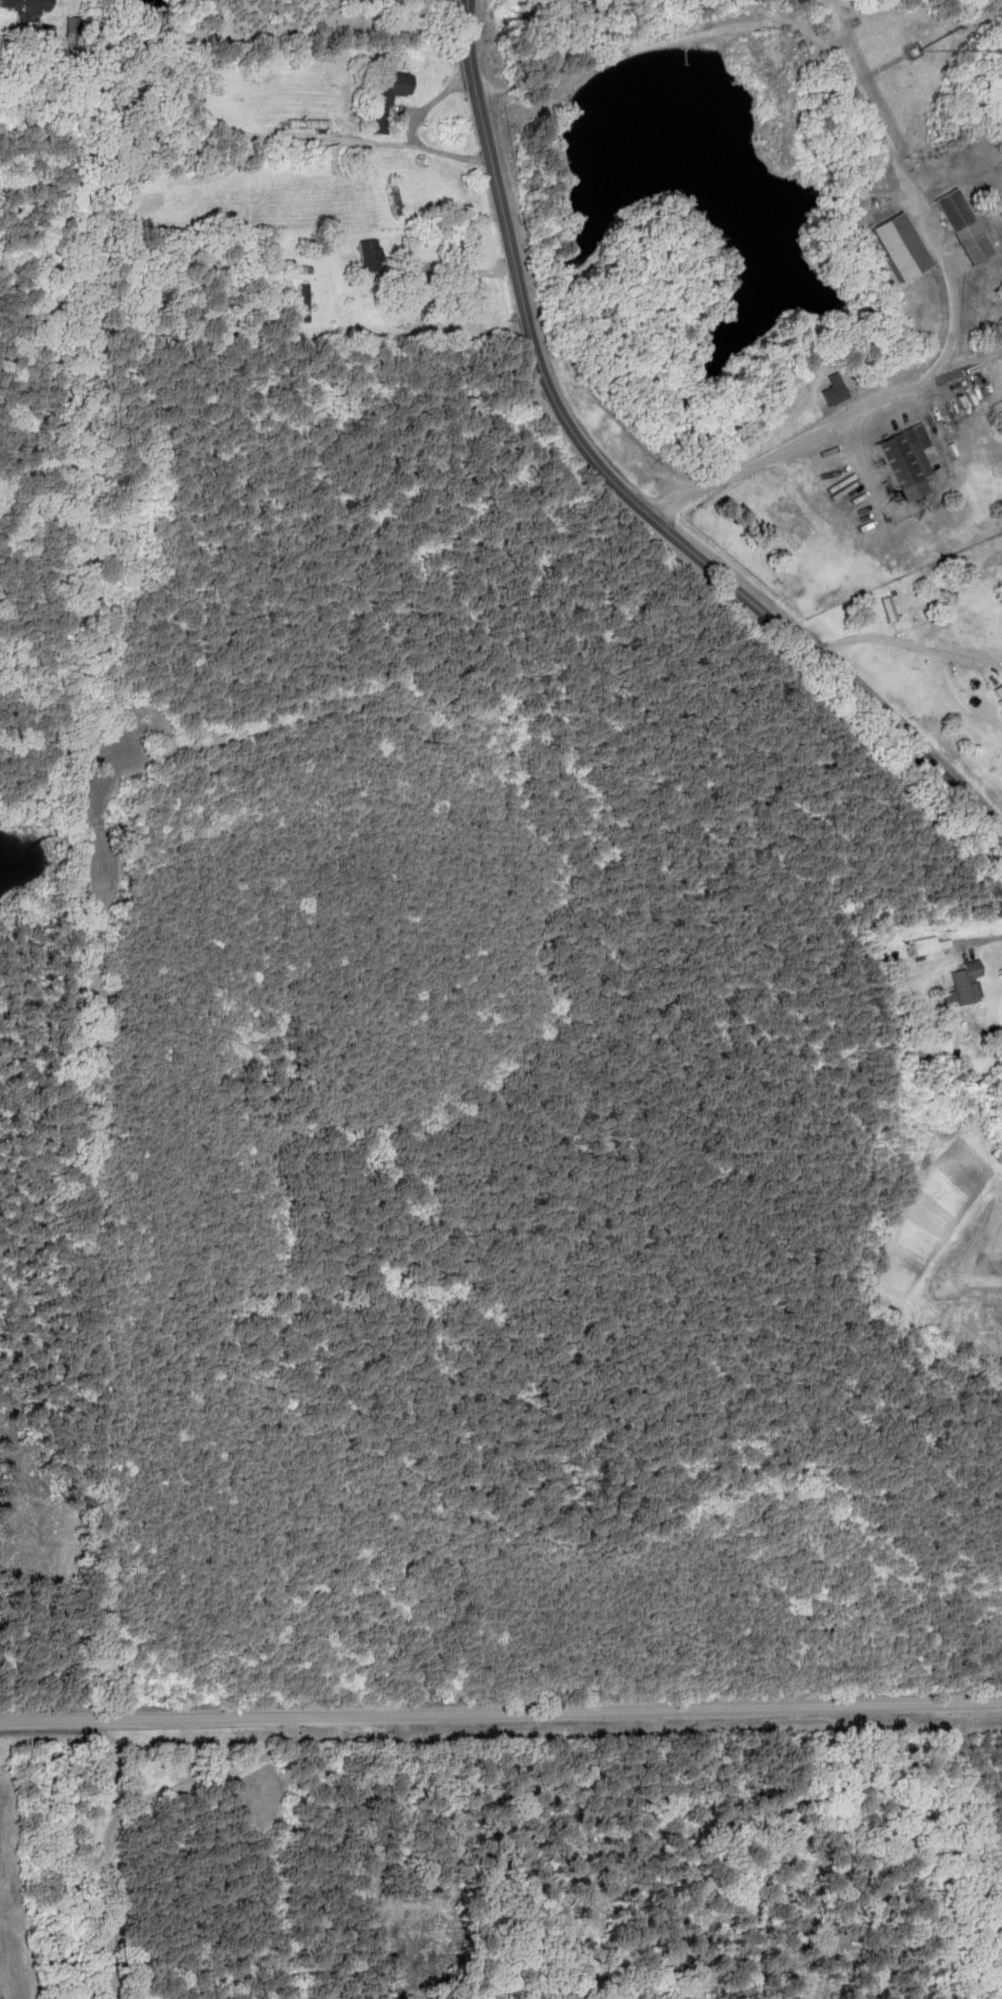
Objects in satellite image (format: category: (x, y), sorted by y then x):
building: (34, 3)
building: (394, 93)
building: (308, 123)
road: (900, 176)
building: (395, 196)
building: (964, 225)
building: (902, 245)
building: (417, 290)
building: (835, 389)
building: (908, 460)
road: (619, 484)
building: (927, 945)
building: (968, 981)
road: (501, 1711)

